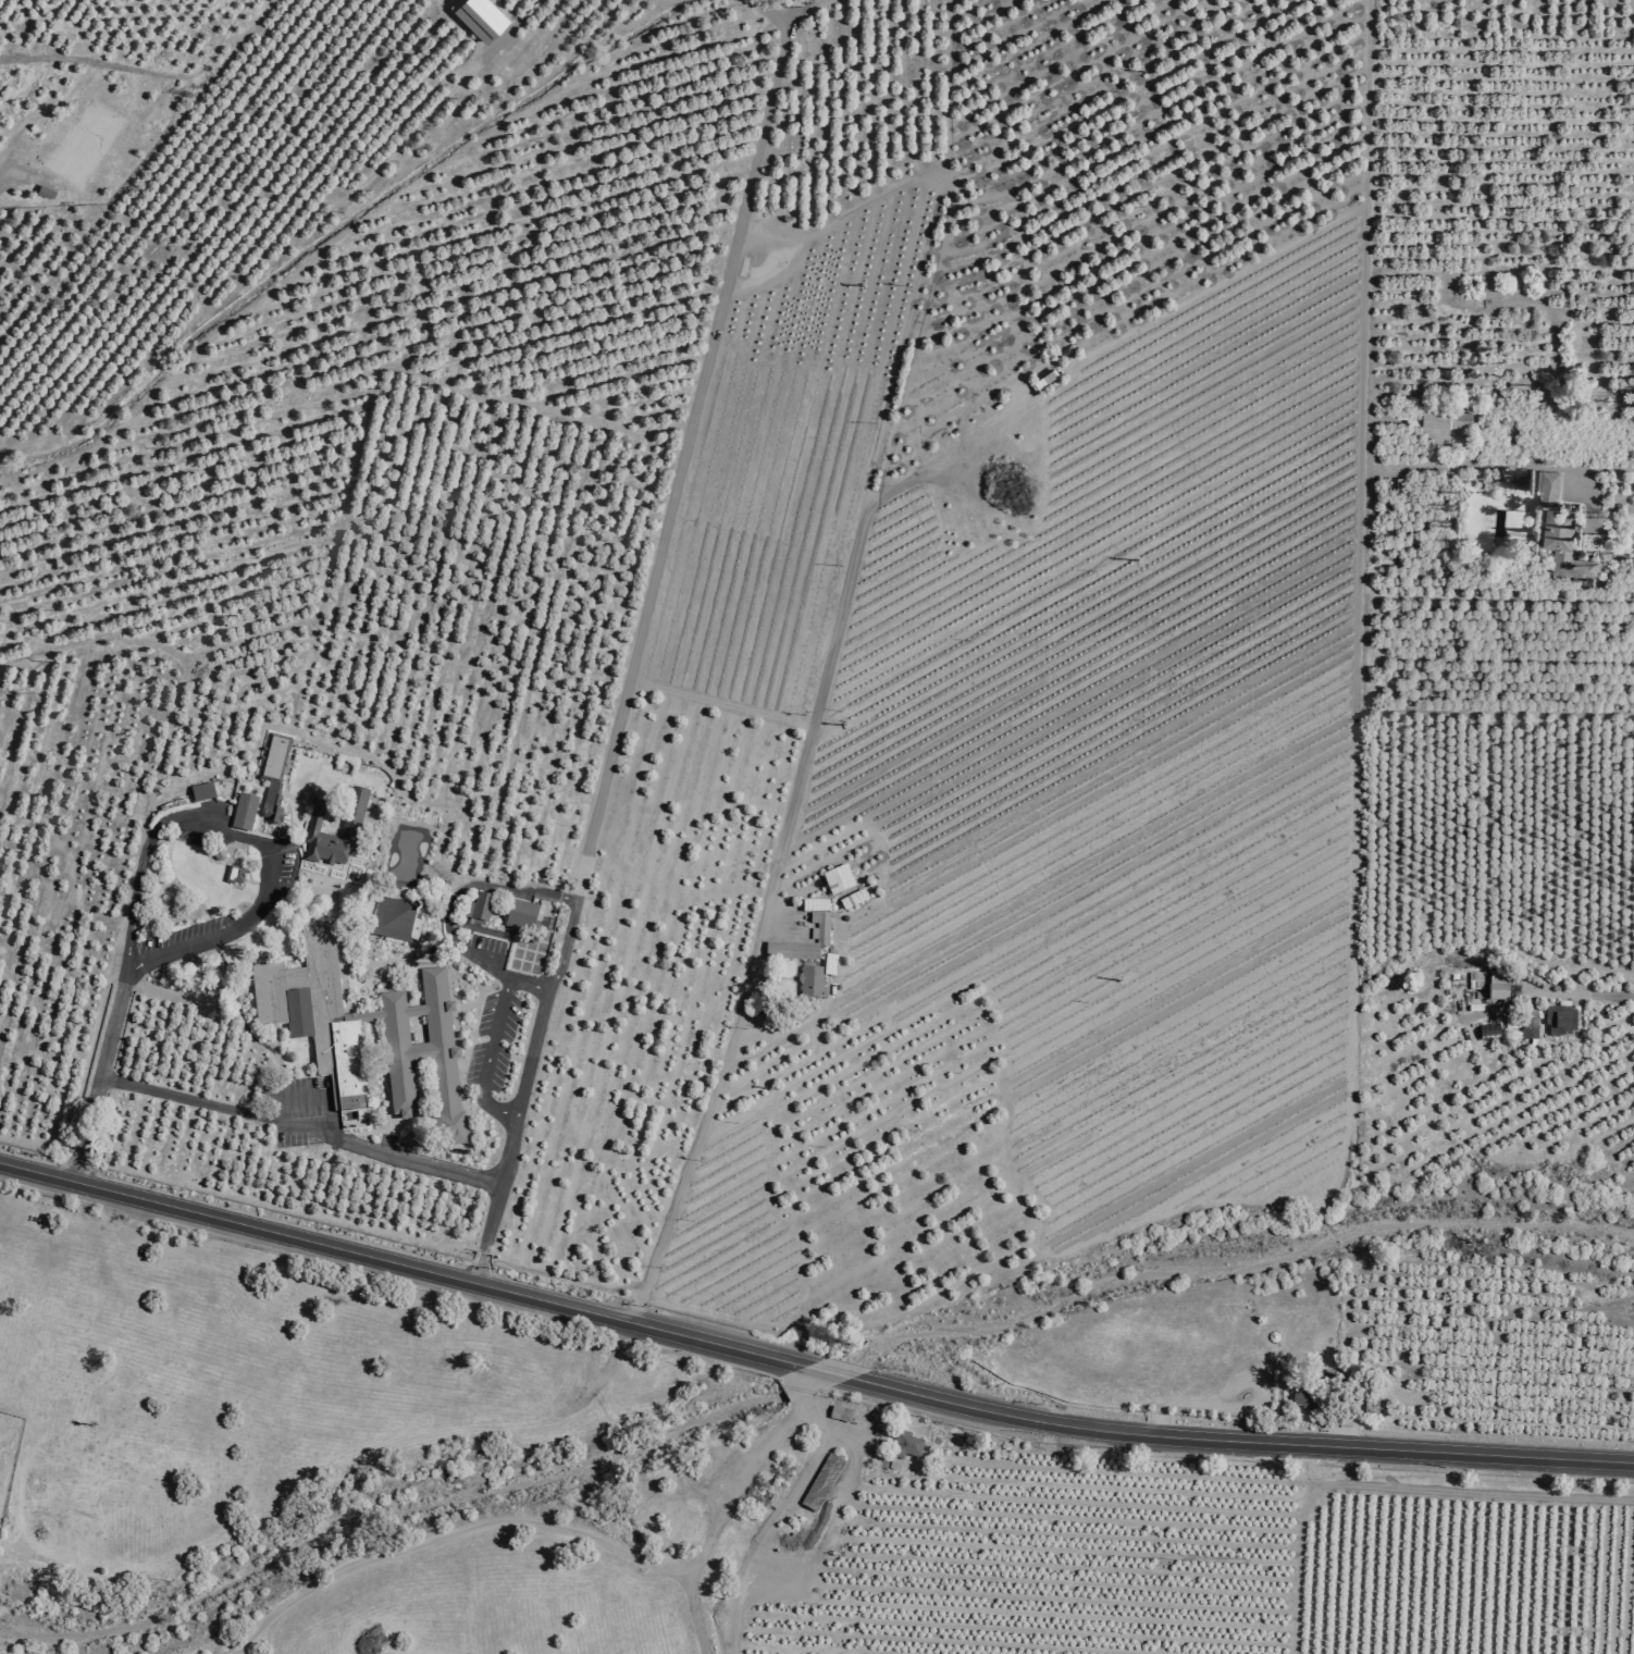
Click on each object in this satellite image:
building: (46, 192)
building: (1445, 420)
road: (1606, 468)
building: (1546, 487)
building: (1561, 545)
road: (626, 682)
building: (274, 779)
building: (203, 792)
building: (245, 812)
building: (354, 816)
road: (244, 840)
building: (841, 879)
building: (856, 900)
building: (480, 908)
building: (395, 919)
building: (809, 953)
road: (491, 963)
building: (1475, 982)
road: (527, 984)
building: (1498, 985)
road: (1608, 992)
building: (1562, 1020)
building: (1511, 1021)
building: (1531, 1029)
building: (326, 1030)
building: (1491, 1032)
road: (485, 1059)
road: (94, 1072)
road: (296, 1131)
road: (684, 1159)
road: (399, 1262)
road: (825, 1372)
road: (797, 1382)
building: (1307, 1399)
building: (842, 1414)
road: (1239, 1439)
building: (905, 1448)
building: (1, 1470)
building: (824, 1482)
road: (720, 1520)
road: (449, 1533)

